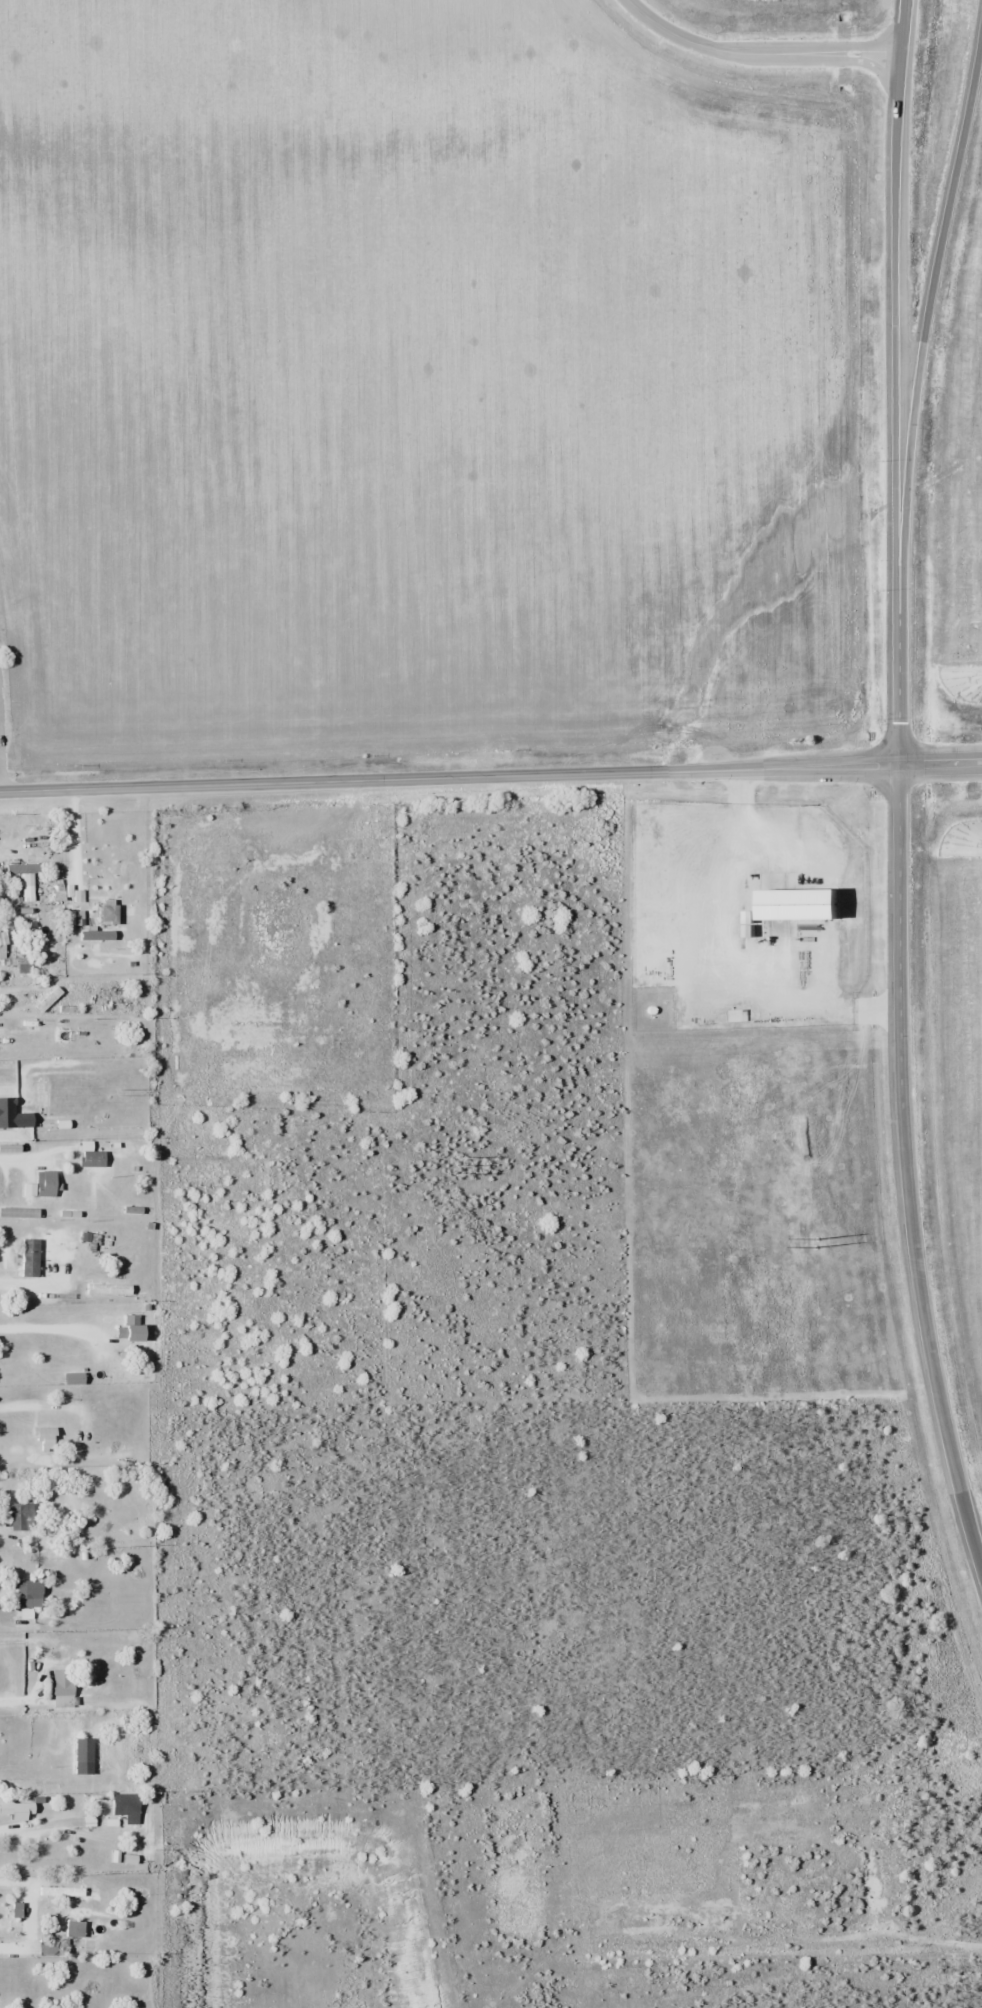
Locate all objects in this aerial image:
road: (685, 39)
road: (827, 47)
road: (832, 60)
road: (926, 322)
road: (894, 382)
road: (490, 777)
building: (4, 945)
building: (18, 988)
power tower: (118, 1093)
building: (42, 1094)
building: (64, 1094)
building: (1, 1114)
building: (53, 1121)
building: (91, 1156)
power tower: (459, 1166)
road: (907, 1173)
building: (47, 1184)
power tower: (816, 1243)
building: (30, 1257)
building: (21, 1516)
building: (29, 1594)
building: (64, 1688)
building: (48, 1863)
building: (31, 1917)
building: (75, 1923)
building: (51, 1947)

